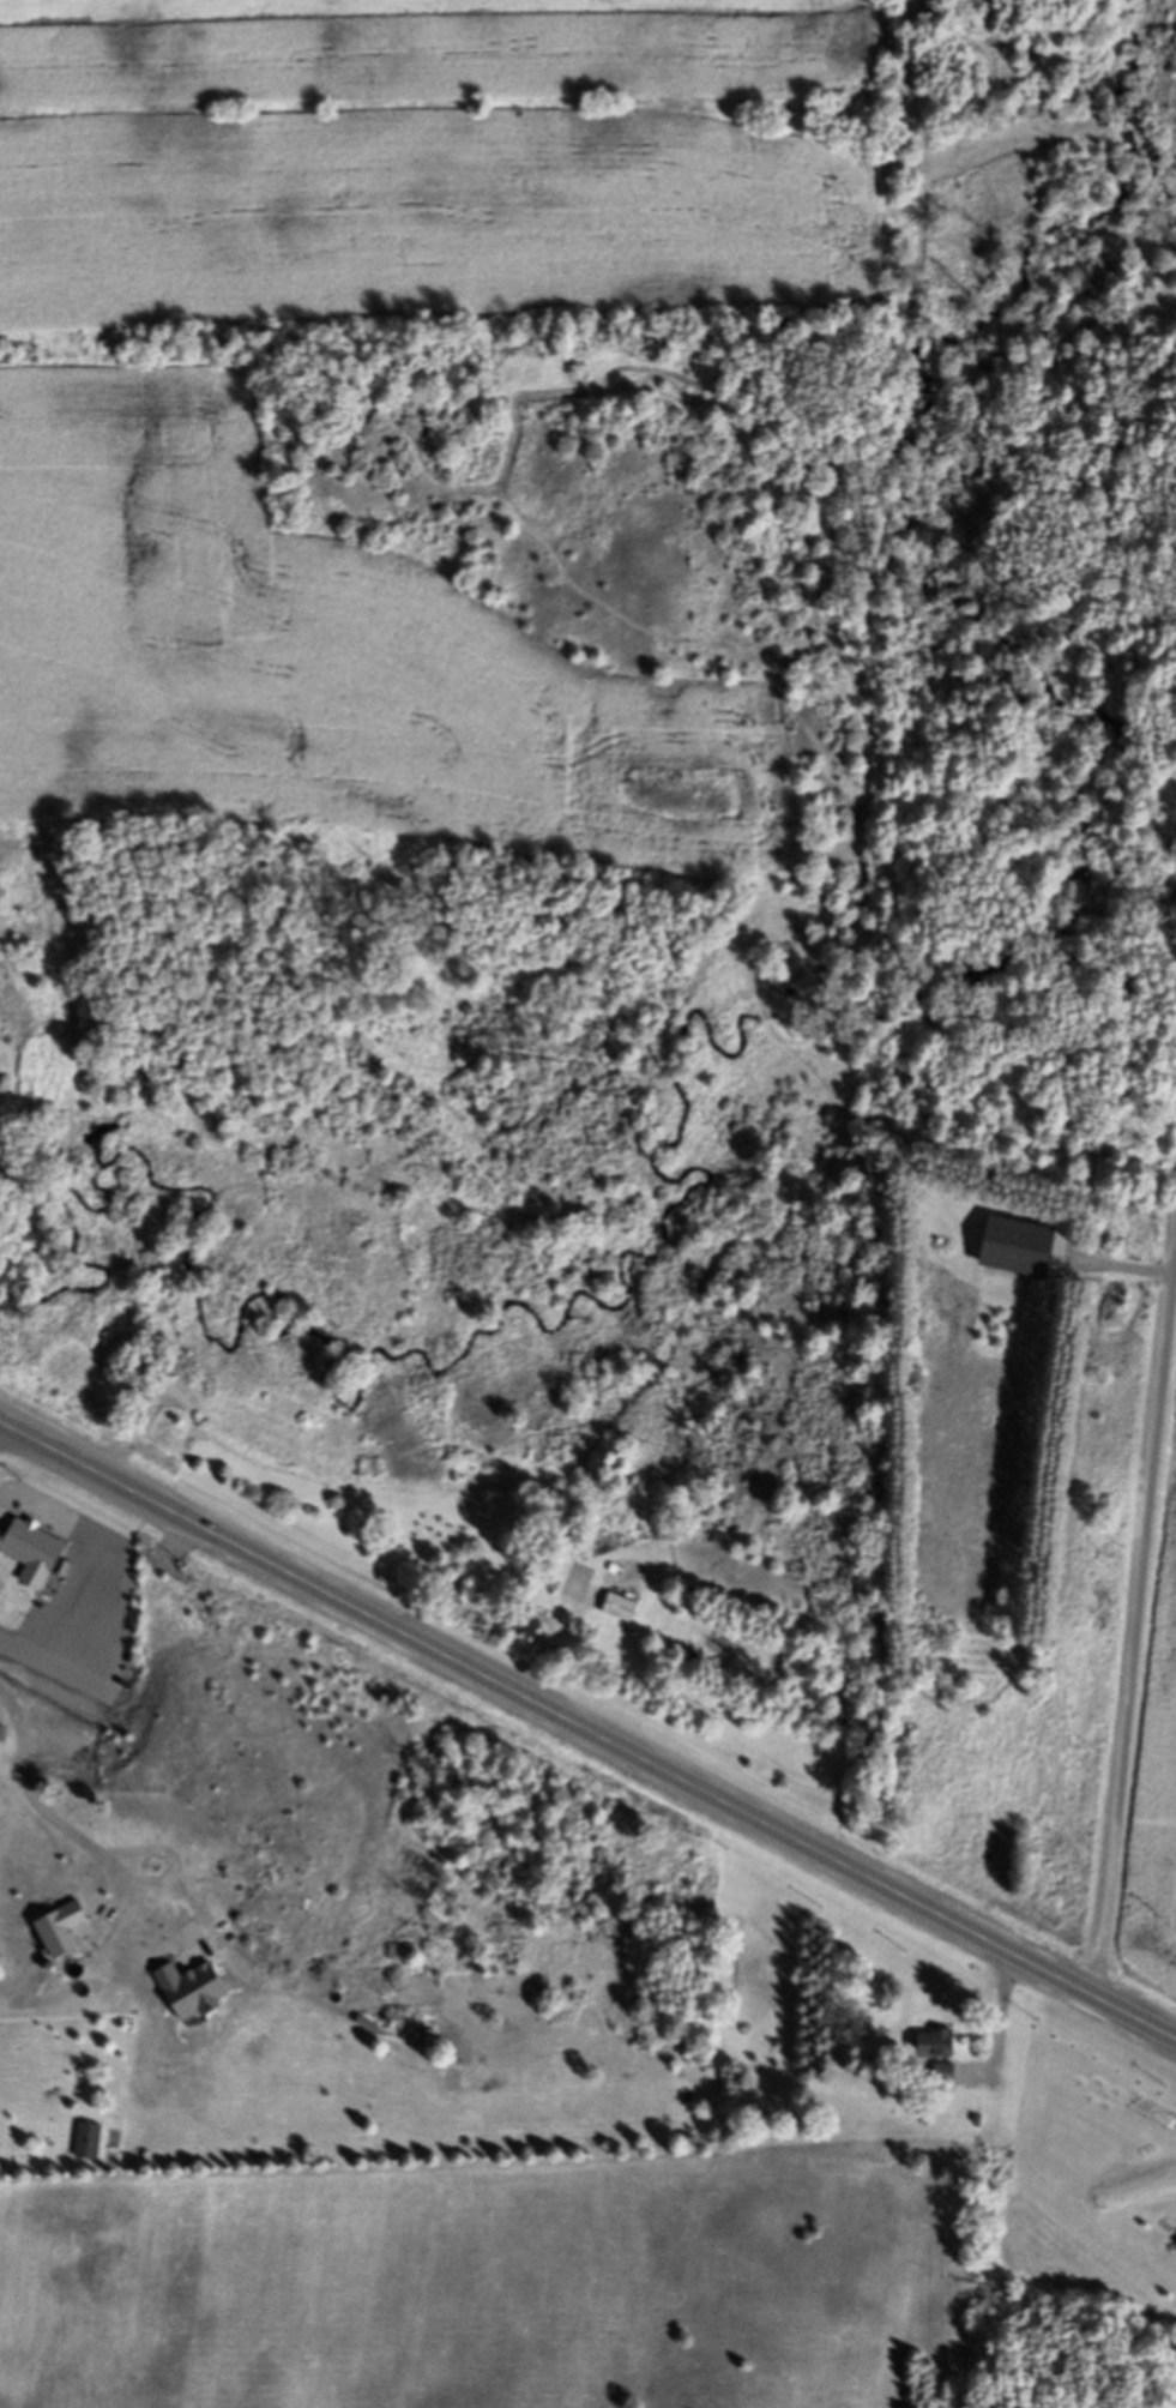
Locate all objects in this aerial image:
building: (1008, 1251)
building: (26, 1555)
road: (1132, 1581)
building: (616, 1611)
building: (517, 1624)
road: (66, 1632)
road: (587, 1732)
road: (43, 1825)
building: (931, 2046)
building: (86, 2144)

